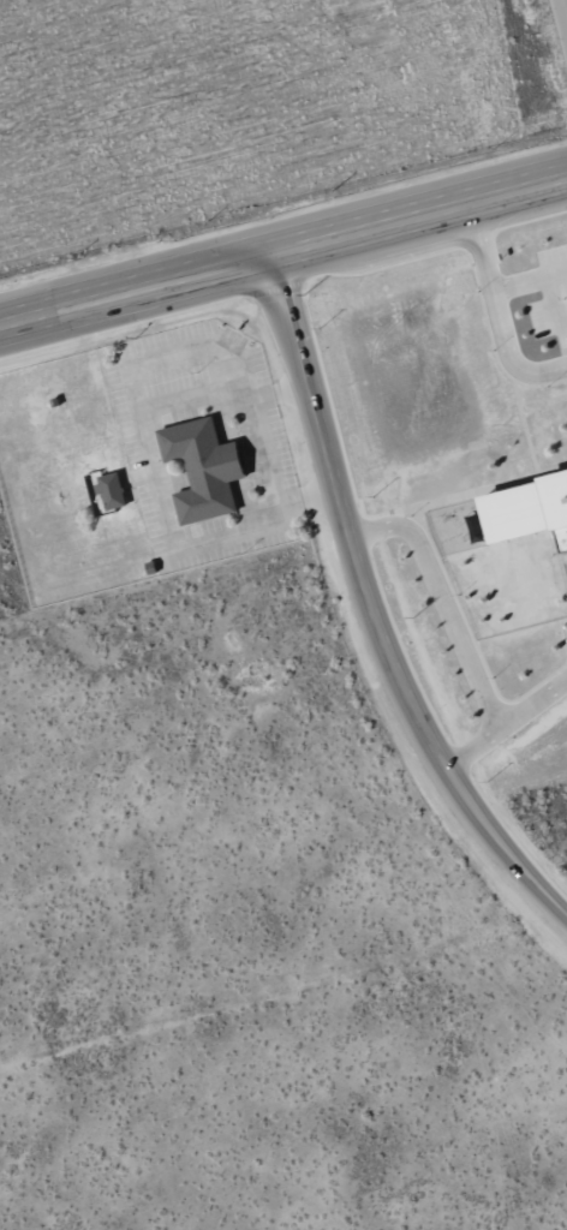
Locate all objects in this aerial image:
road: (566, 1)
road: (283, 251)
road: (494, 312)
building: (203, 467)
building: (112, 489)
building: (531, 509)
building: (153, 567)
road: (369, 620)
road: (454, 629)
road: (531, 698)

